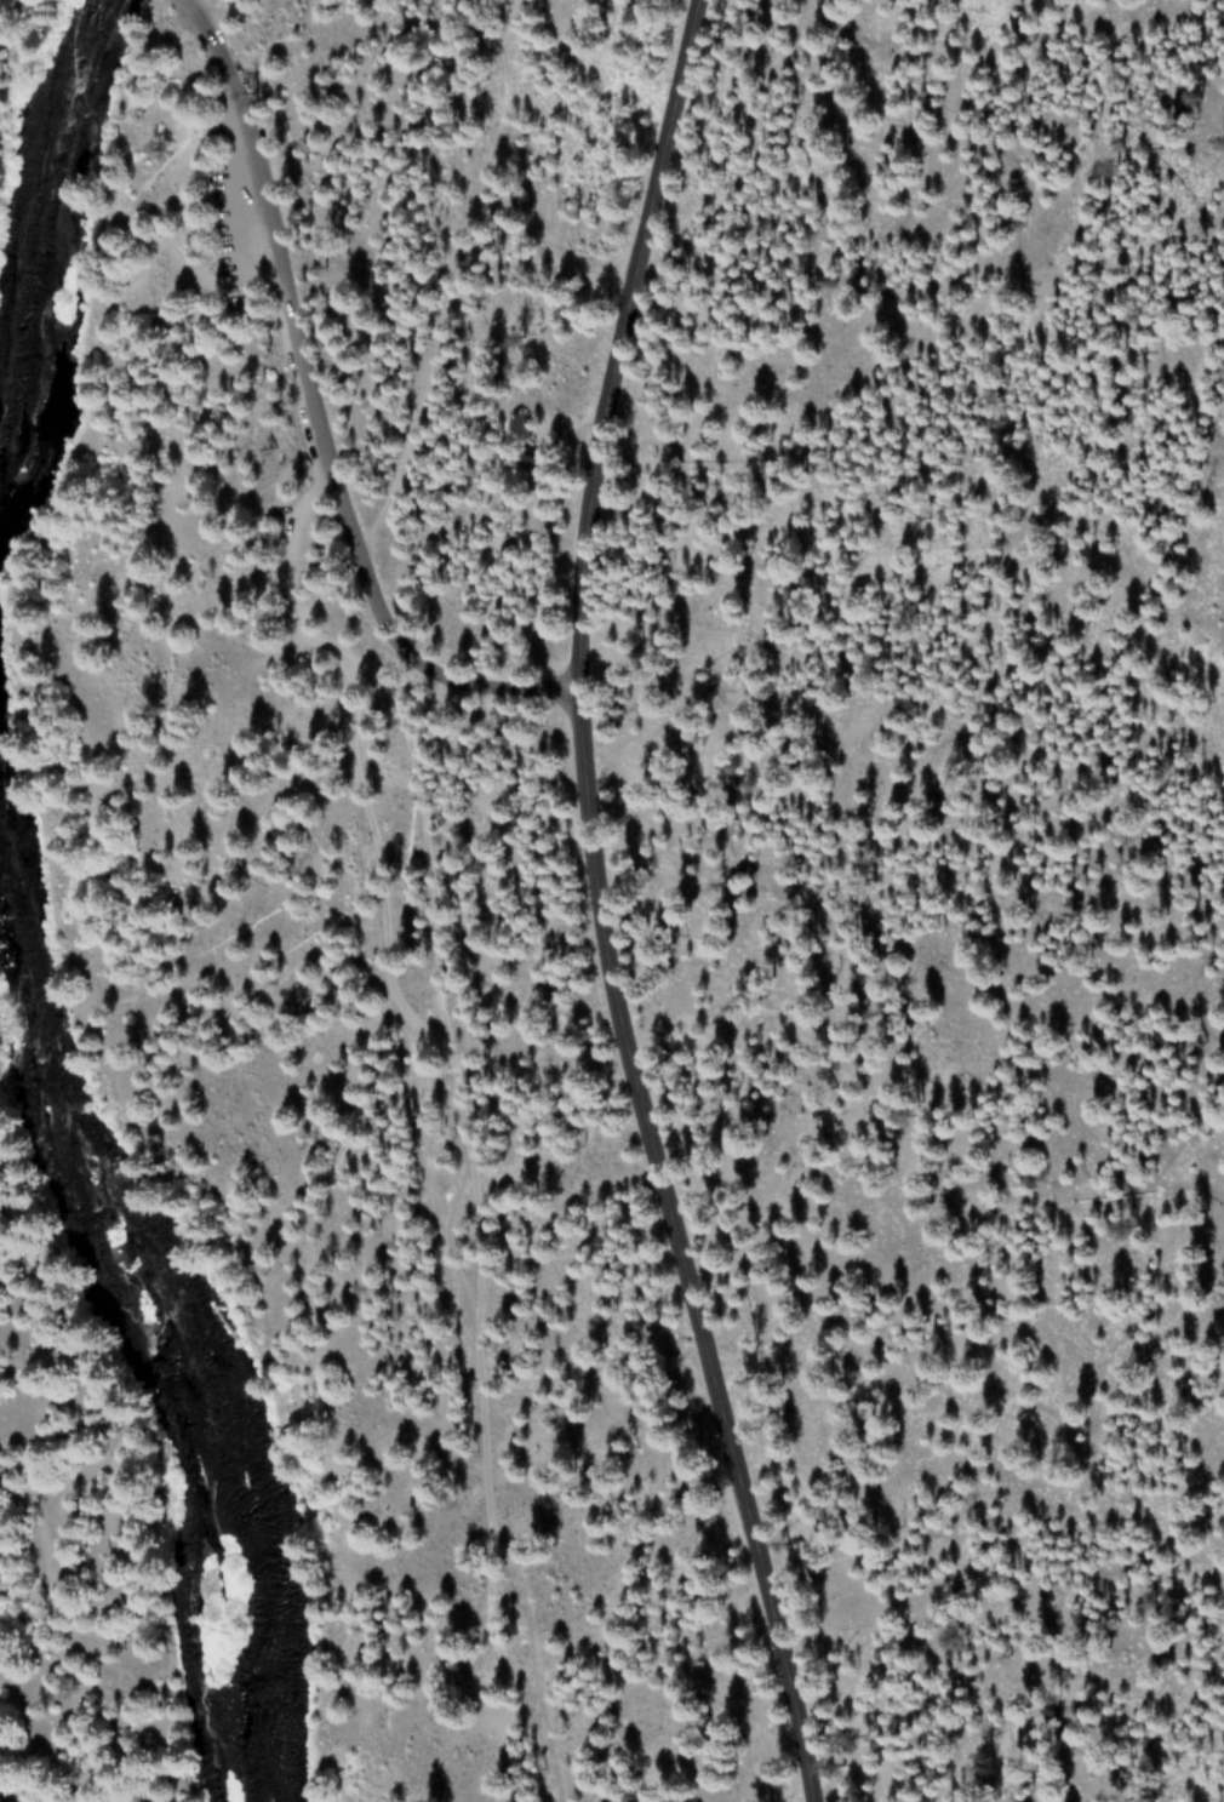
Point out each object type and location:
river: (55, 242)
road: (315, 397)
road: (599, 906)
road: (78, 908)
river: (137, 1302)
road: (57, 1627)

